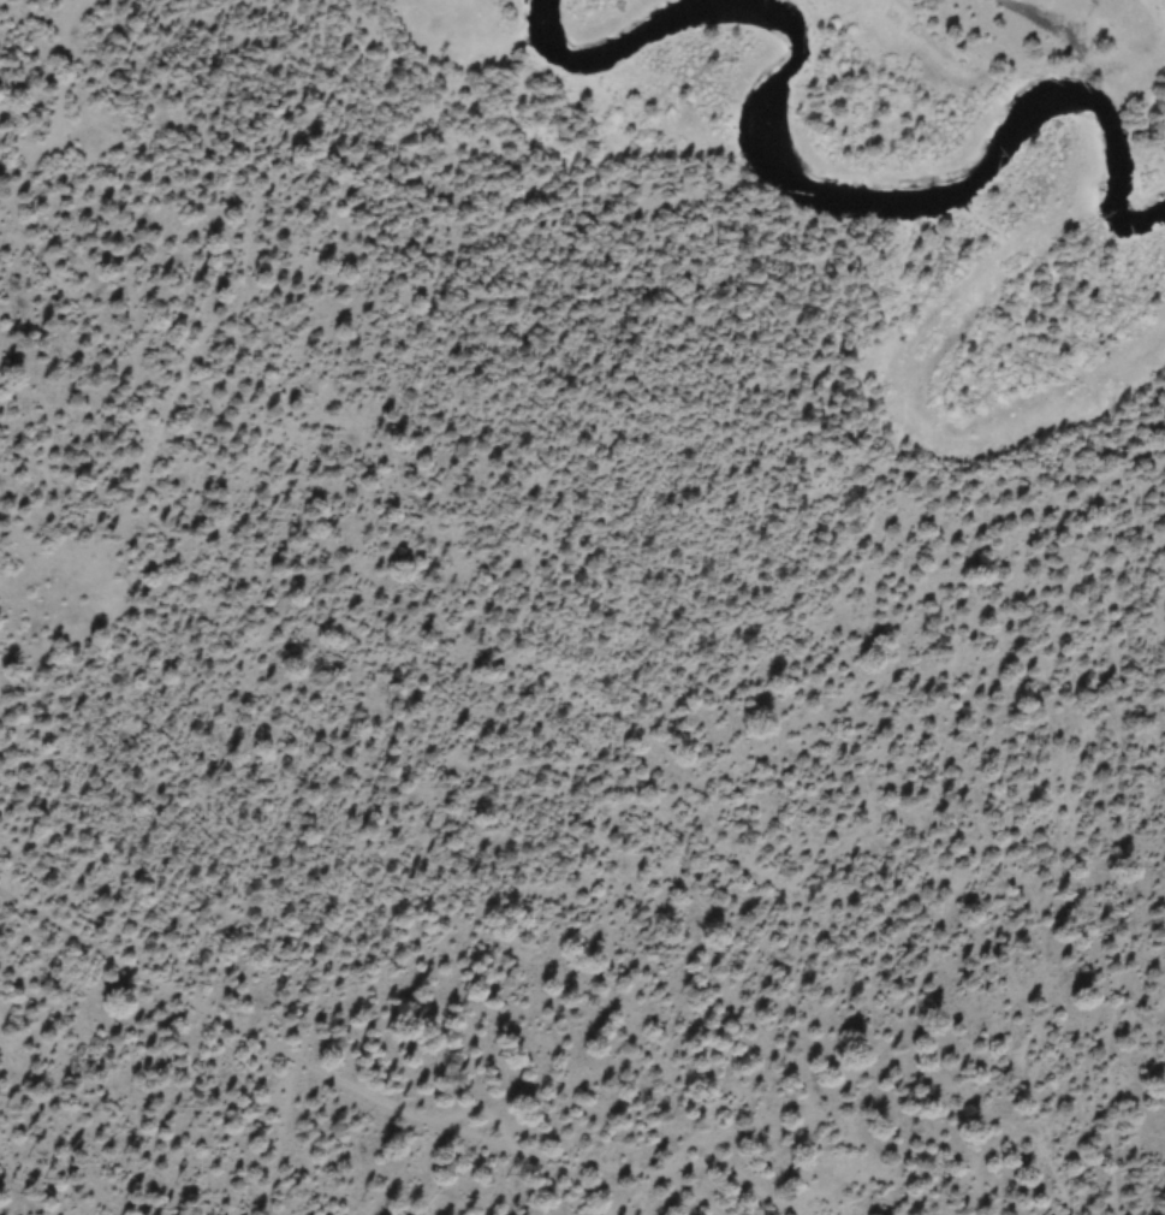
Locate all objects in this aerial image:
river: (815, 200)
road: (349, 1078)
road: (20, 1179)

